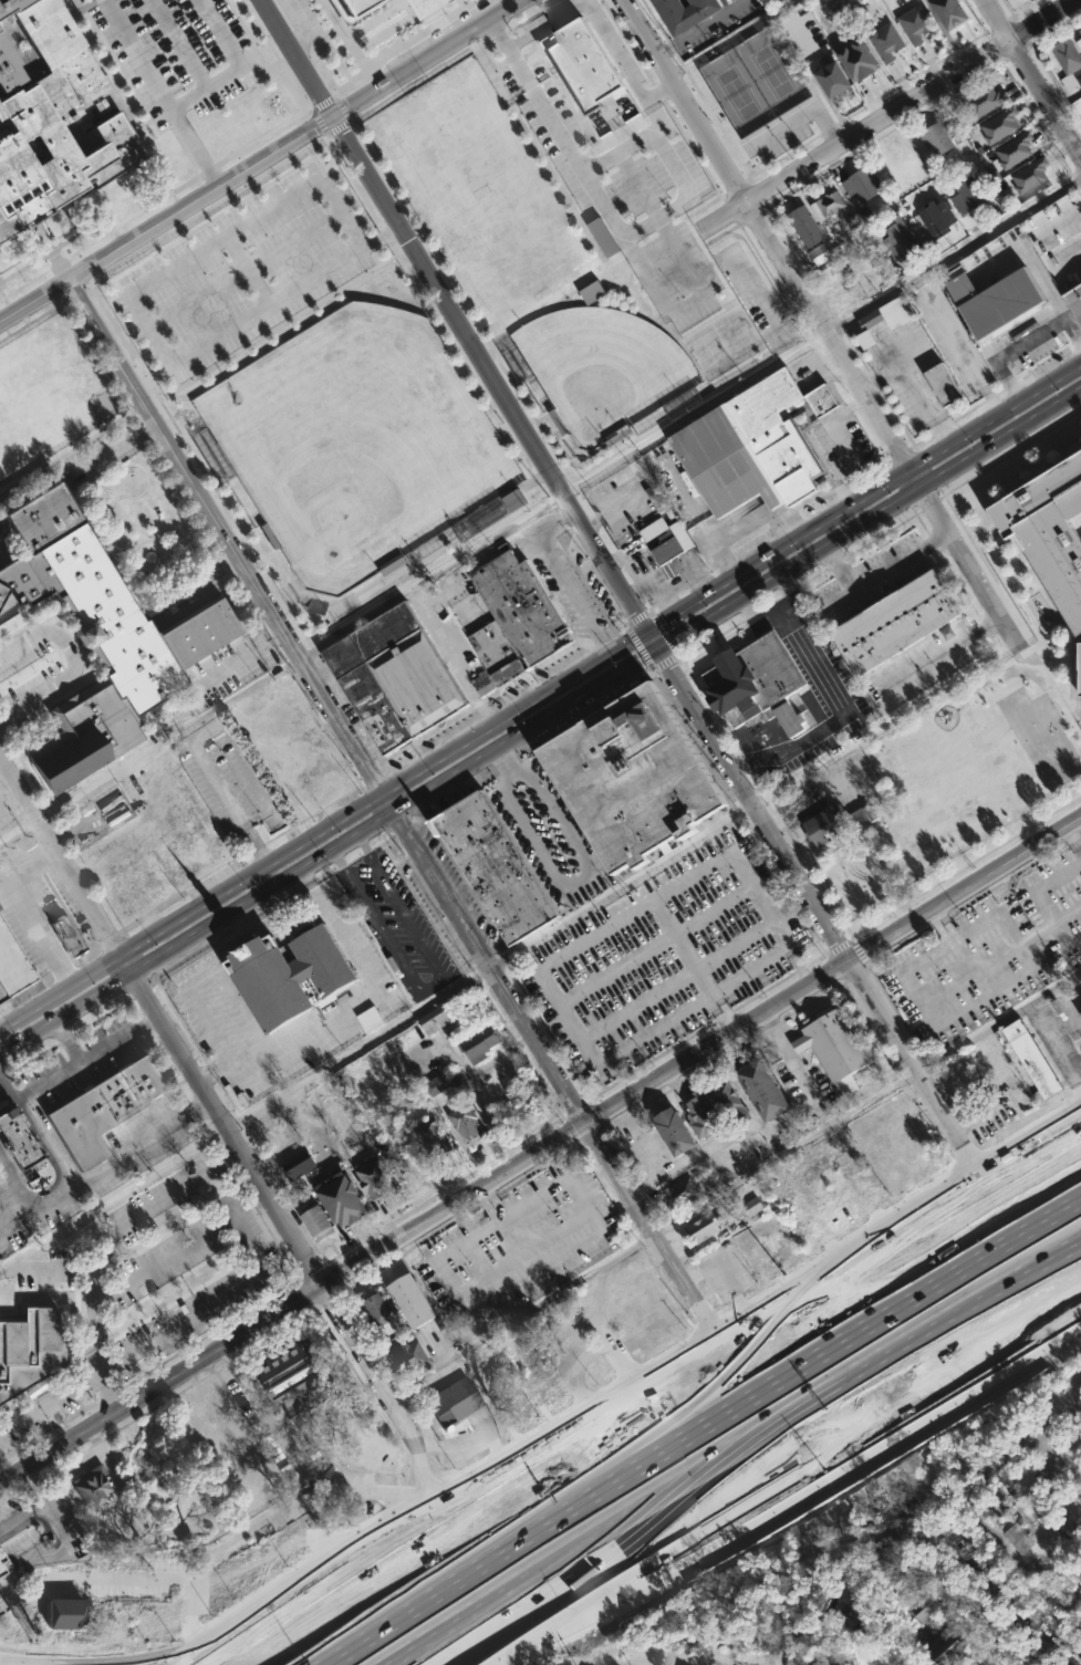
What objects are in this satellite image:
building: (413, 4)
building: (350, 8)
building: (945, 11)
building: (679, 13)
road: (994, 20)
building: (913, 22)
road: (301, 28)
road: (600, 29)
building: (1079, 30)
building: (885, 40)
building: (1079, 43)
parking lot: (176, 53)
building: (1066, 54)
road: (294, 58)
road: (424, 58)
building: (854, 58)
building: (575, 63)
building: (829, 77)
park: (753, 81)
road: (160, 94)
road: (1043, 96)
road: (685, 98)
building: (984, 100)
road: (884, 114)
building: (55, 118)
road: (798, 119)
building: (998, 124)
building: (937, 135)
road: (562, 143)
building: (1015, 149)
building: (1030, 174)
building: (860, 181)
park: (481, 196)
road: (201, 197)
building: (967, 199)
building: (829, 202)
building: (939, 221)
building: (805, 226)
road: (398, 229)
road: (224, 236)
building: (603, 237)
building: (897, 239)
building: (820, 253)
road: (955, 253)
parking lot: (240, 274)
building: (592, 292)
road: (37, 301)
building: (1072, 301)
building: (992, 302)
road: (267, 306)
building: (886, 313)
road: (1021, 345)
road: (958, 346)
park: (602, 366)
building: (939, 384)
road: (139, 391)
road: (913, 393)
road: (695, 412)
road: (884, 420)
park: (356, 440)
building: (753, 447)
road: (558, 487)
road: (864, 499)
building: (513, 500)
road: (610, 510)
road: (870, 520)
building: (1047, 532)
building: (669, 548)
road: (883, 573)
road: (565, 580)
road: (777, 612)
building: (518, 621)
building: (895, 621)
traffic signals: (648, 632)
building: (97, 638)
road: (654, 642)
road: (628, 644)
traffic signals: (659, 652)
road: (943, 652)
road: (72, 663)
building: (1078, 669)
building: (397, 679)
building: (482, 684)
building: (755, 684)
road: (579, 701)
road: (842, 715)
road: (168, 737)
road: (505, 763)
building: (632, 778)
road: (231, 807)
building: (834, 823)
road: (18, 830)
road: (1074, 837)
road: (306, 845)
building: (492, 866)
road: (578, 881)
road: (1042, 884)
road: (249, 904)
road: (817, 908)
road: (27, 910)
road: (1068, 914)
road: (459, 916)
road: (952, 930)
building: (69, 935)
road: (943, 936)
parking lot: (995, 953)
road: (1007, 953)
road: (569, 954)
road: (511, 955)
parking lot: (668, 956)
building: (12, 965)
road: (798, 967)
building: (292, 971)
road: (432, 986)
road: (711, 998)
building: (1079, 1012)
building: (371, 1018)
road: (345, 1019)
building: (432, 1038)
road: (66, 1041)
road: (1080, 1042)
building: (484, 1043)
building: (834, 1048)
road: (86, 1055)
building: (1030, 1058)
road: (790, 1060)
road: (1059, 1069)
road: (3, 1079)
building: (436, 1085)
road: (3, 1088)
building: (766, 1090)
building: (730, 1100)
building: (105, 1107)
building: (704, 1115)
building: (467, 1121)
road: (226, 1125)
building: (674, 1131)
road: (40, 1135)
building: (434, 1136)
building: (21, 1138)
road: (707, 1147)
road: (540, 1151)
road: (222, 1162)
building: (299, 1163)
road: (97, 1170)
building: (377, 1177)
building: (679, 1191)
building: (347, 1198)
road: (957, 1199)
road: (487, 1203)
building: (752, 1206)
building: (320, 1220)
building: (705, 1227)
road: (910, 1253)
road: (720, 1269)
road: (537, 1270)
building: (418, 1300)
building: (380, 1310)
road: (518, 1317)
road: (997, 1325)
building: (30, 1350)
building: (409, 1354)
building: (298, 1375)
road: (625, 1384)
road: (1066, 1399)
building: (454, 1402)
road: (717, 1406)
road: (460, 1445)
road: (104, 1458)
road: (299, 1460)
road: (1047, 1481)
building: (93, 1486)
road: (35, 1488)
road: (791, 1495)
road: (497, 1506)
road: (666, 1518)
building: (845, 1522)
road: (59, 1538)
building: (1014, 1538)
road: (845, 1548)
building: (890, 1552)
building: (2, 1565)
road: (325, 1586)
road: (963, 1595)
building: (65, 1613)
road: (779, 1614)
building: (938, 1630)
building: (869, 1650)
road: (648, 1662)
road: (648, 1664)

